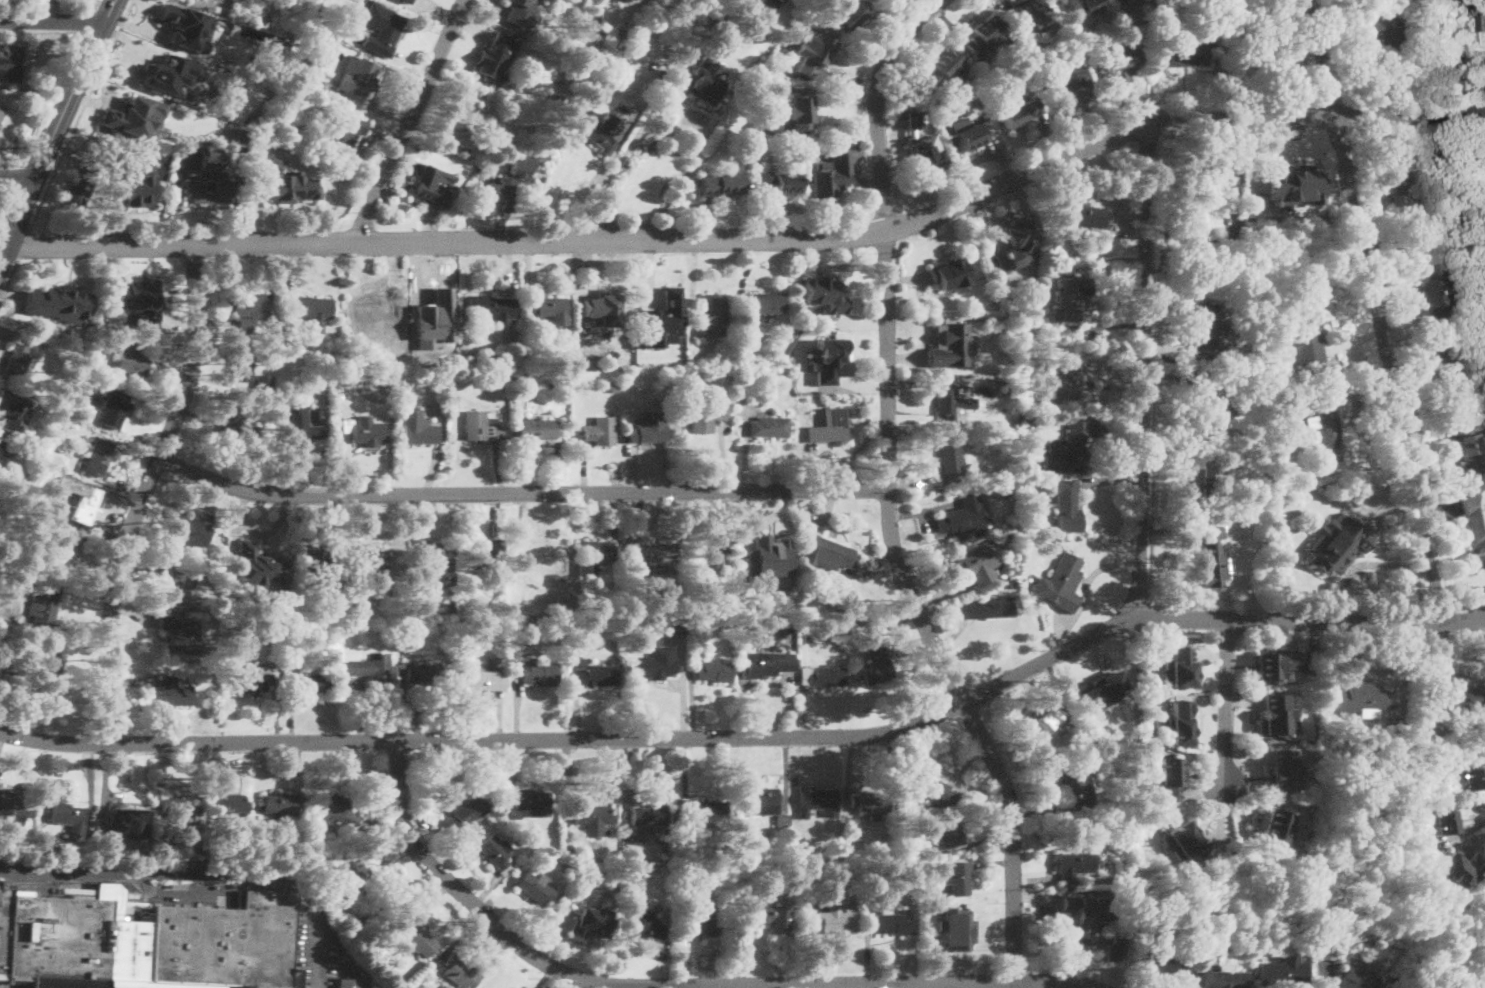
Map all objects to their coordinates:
building: (631, 0)
building: (407, 1)
building: (548, 1)
building: (1138, 1)
building: (292, 3)
building: (757, 4)
road: (93, 5)
building: (1069, 6)
building: (1027, 12)
building: (1479, 12)
building: (522, 13)
building: (849, 14)
building: (597, 19)
road: (51, 21)
road: (85, 22)
building: (1210, 22)
building: (384, 24)
building: (188, 27)
building: (717, 30)
building: (983, 31)
building: (619, 32)
building: (1378, 33)
building: (1264, 47)
building: (1188, 53)
building: (812, 54)
building: (621, 58)
building: (11, 63)
building: (492, 63)
building: (985, 63)
building: (313, 67)
building: (1123, 70)
building: (939, 72)
building: (171, 74)
building: (614, 77)
building: (360, 80)
building: (1063, 88)
building: (705, 89)
road: (51, 98)
building: (624, 109)
building: (2, 110)
road: (80, 113)
building: (799, 113)
building: (1018, 114)
building: (134, 115)
building: (913, 120)
road: (409, 122)
building: (0, 124)
building: (464, 127)
building: (769, 127)
road: (56, 129)
building: (261, 129)
building: (598, 131)
building: (673, 131)
building: (242, 134)
building: (338, 136)
building: (970, 137)
building: (261, 140)
building: (758, 150)
building: (540, 153)
building: (927, 156)
road: (622, 157)
building: (212, 158)
building: (521, 168)
road: (18, 175)
road: (18, 175)
road: (596, 176)
building: (1421, 178)
building: (82, 181)
building: (288, 182)
building: (830, 182)
building: (139, 184)
building: (779, 184)
building: (1198, 184)
building: (433, 185)
building: (1292, 185)
building: (720, 186)
building: (208, 192)
building: (495, 194)
road: (6, 201)
building: (1085, 215)
road: (16, 220)
road: (756, 242)
road: (25, 243)
building: (1012, 250)
road: (9, 254)
building: (1083, 268)
building: (951, 273)
road: (9, 281)
building: (1434, 293)
building: (830, 295)
building: (1072, 298)
building: (139, 299)
building: (766, 303)
building: (54, 305)
building: (491, 308)
building: (550, 309)
building: (606, 309)
road: (1376, 312)
building: (253, 313)
building: (317, 313)
building: (378, 313)
building: (712, 315)
building: (663, 320)
building: (744, 320)
building: (103, 324)
building: (1028, 329)
building: (1206, 330)
building: (279, 331)
building: (758, 335)
building: (1305, 336)
building: (1029, 338)
building: (949, 340)
building: (378, 344)
building: (102, 346)
building: (560, 354)
building: (825, 358)
building: (1030, 360)
building: (131, 361)
building: (242, 362)
building: (19, 363)
building: (1451, 369)
road: (1146, 373)
building: (326, 374)
building: (748, 374)
building: (359, 378)
building: (512, 378)
building: (68, 381)
building: (1065, 382)
building: (264, 383)
building: (809, 384)
building: (615, 387)
building: (953, 403)
building: (1214, 403)
building: (1273, 406)
building: (13, 410)
building: (73, 411)
building: (115, 411)
building: (707, 415)
building: (234, 419)
building: (67, 420)
building: (480, 422)
building: (833, 425)
building: (649, 427)
building: (537, 428)
building: (774, 428)
building: (254, 429)
building: (1326, 429)
building: (418, 430)
building: (601, 431)
building: (302, 432)
building: (369, 435)
building: (1273, 438)
building: (1470, 440)
building: (1, 445)
building: (1069, 446)
road: (345, 450)
building: (98, 457)
building: (1265, 461)
building: (951, 463)
building: (1024, 469)
building: (63, 479)
building: (1215, 482)
road: (143, 491)
road: (519, 491)
road: (888, 493)
building: (1282, 499)
building: (1067, 504)
building: (85, 507)
building: (962, 515)
road: (758, 520)
building: (1474, 525)
building: (70, 534)
road: (259, 534)
building: (194, 538)
building: (1335, 543)
building: (250, 550)
building: (597, 551)
building: (662, 552)
building: (716, 553)
building: (487, 554)
building: (830, 554)
building: (61, 557)
building: (1214, 557)
building: (768, 559)
building: (326, 560)
building: (433, 560)
building: (977, 561)
building: (375, 564)
road: (1363, 564)
building: (1003, 573)
building: (1061, 583)
building: (1007, 584)
building: (184, 588)
building: (44, 605)
building: (424, 607)
building: (986, 607)
building: (449, 612)
building: (855, 619)
building: (674, 625)
building: (279, 628)
building: (789, 629)
building: (182, 637)
building: (808, 638)
building: (300, 658)
building: (656, 663)
building: (1275, 663)
building: (875, 666)
building: (763, 669)
building: (1185, 669)
building: (7, 671)
building: (50, 671)
building: (371, 671)
building: (714, 671)
building: (538, 672)
building: (592, 673)
building: (426, 674)
building: (829, 675)
building: (250, 680)
building: (312, 681)
building: (482, 681)
building: (176, 692)
building: (1101, 697)
building: (1455, 699)
building: (1360, 700)
road: (1225, 703)
building: (1275, 716)
building: (1044, 723)
building: (1180, 723)
road: (754, 736)
building: (1285, 770)
building: (1170, 778)
building: (1471, 778)
building: (1077, 788)
building: (932, 790)
building: (817, 800)
building: (533, 803)
building: (281, 804)
building: (767, 804)
building: (13, 805)
building: (330, 805)
building: (870, 805)
building: (228, 806)
building: (179, 811)
building: (470, 811)
building: (701, 813)
building: (626, 814)
building: (647, 817)
building: (68, 818)
building: (594, 818)
building: (1443, 819)
building: (122, 822)
building: (1274, 824)
building: (952, 828)
building: (1185, 843)
building: (553, 845)
building: (495, 854)
building: (58, 855)
building: (666, 860)
building: (1075, 865)
building: (1459, 869)
road: (206, 872)
building: (637, 873)
building: (358, 876)
building: (957, 878)
building: (534, 886)
building: (1422, 890)
building: (1107, 900)
building: (770, 917)
building: (701, 920)
building: (832, 920)
building: (1088, 920)
building: (590, 922)
building: (642, 923)
building: (895, 923)
building: (951, 926)
park: (1457, 934)
building: (418, 939)
building: (145, 943)
parking lot: (315, 948)
building: (1114, 949)
building: (1325, 951)
building: (1161, 961)
building: (435, 967)
building: (1282, 972)
building: (460, 973)
building: (1225, 980)
building: (1356, 980)
building: (1394, 981)
building: (348, 982)
road: (671, 982)
parking lot: (11, 985)
building: (490, 987)

